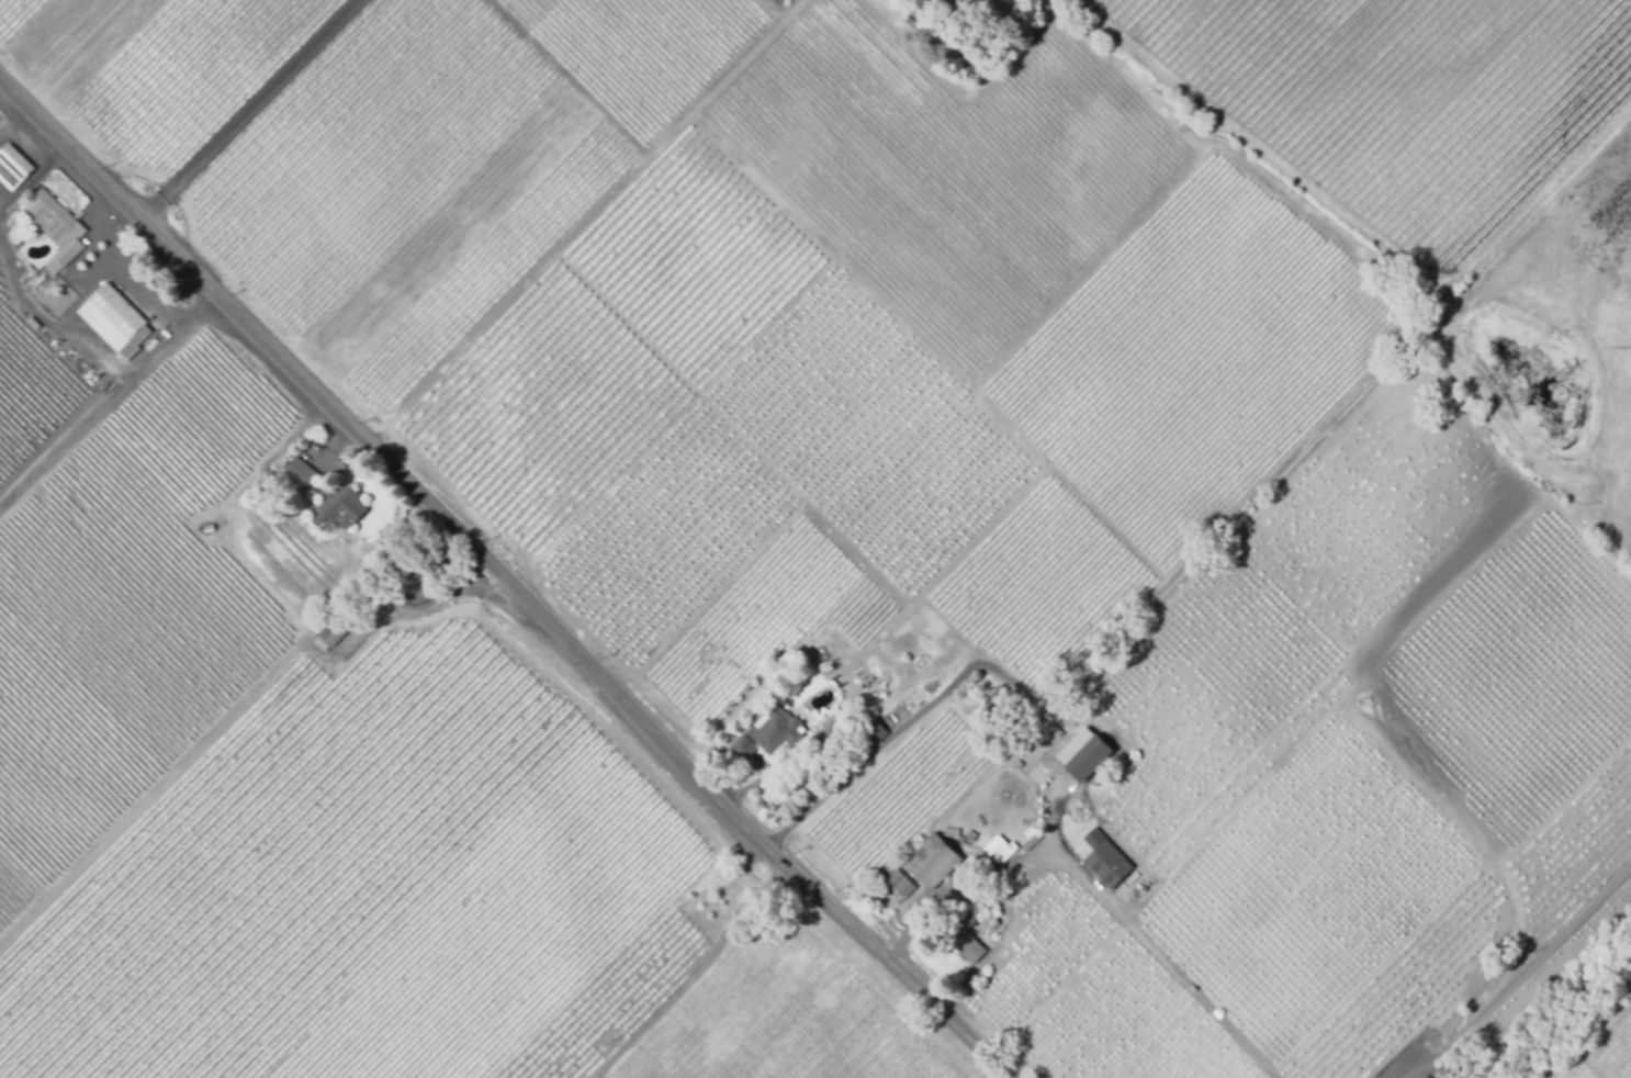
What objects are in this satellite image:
road: (247, 106)
building: (13, 167)
building: (57, 229)
building: (116, 319)
building: (32, 323)
building: (299, 475)
building: (337, 502)
building: (207, 527)
building: (423, 562)
road: (505, 577)
building: (338, 629)
building: (1000, 699)
building: (774, 728)
building: (874, 733)
building: (742, 745)
road: (886, 745)
building: (1081, 753)
building: (1038, 784)
building: (1088, 827)
building: (969, 834)
building: (1000, 850)
building: (1105, 858)
building: (933, 861)
building: (947, 880)
building: (900, 882)
building: (954, 887)
road: (1099, 894)
building: (1016, 901)
building: (990, 920)
building: (968, 945)
road: (1527, 975)
road: (696, 977)
road: (598, 1077)
building: (1426, 1077)

